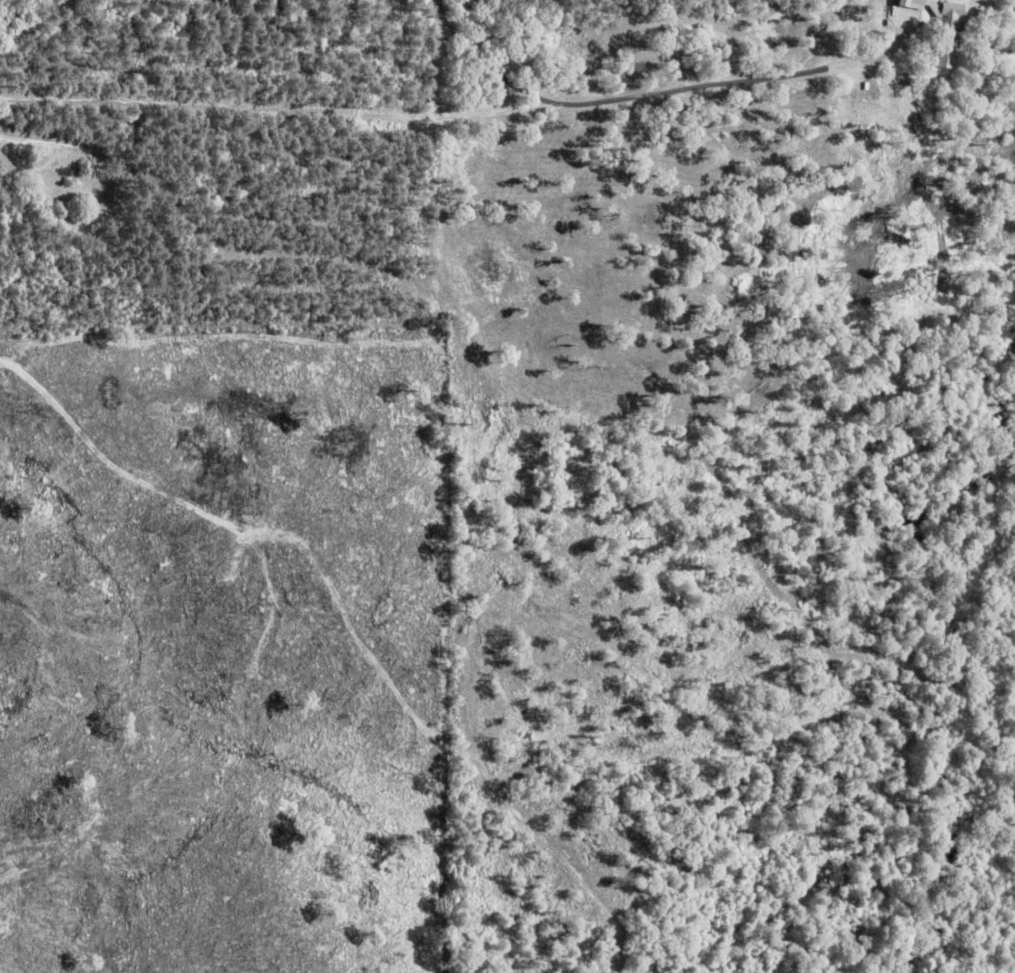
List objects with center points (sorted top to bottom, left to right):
building: (971, 3)
building: (946, 27)
river: (953, 642)

